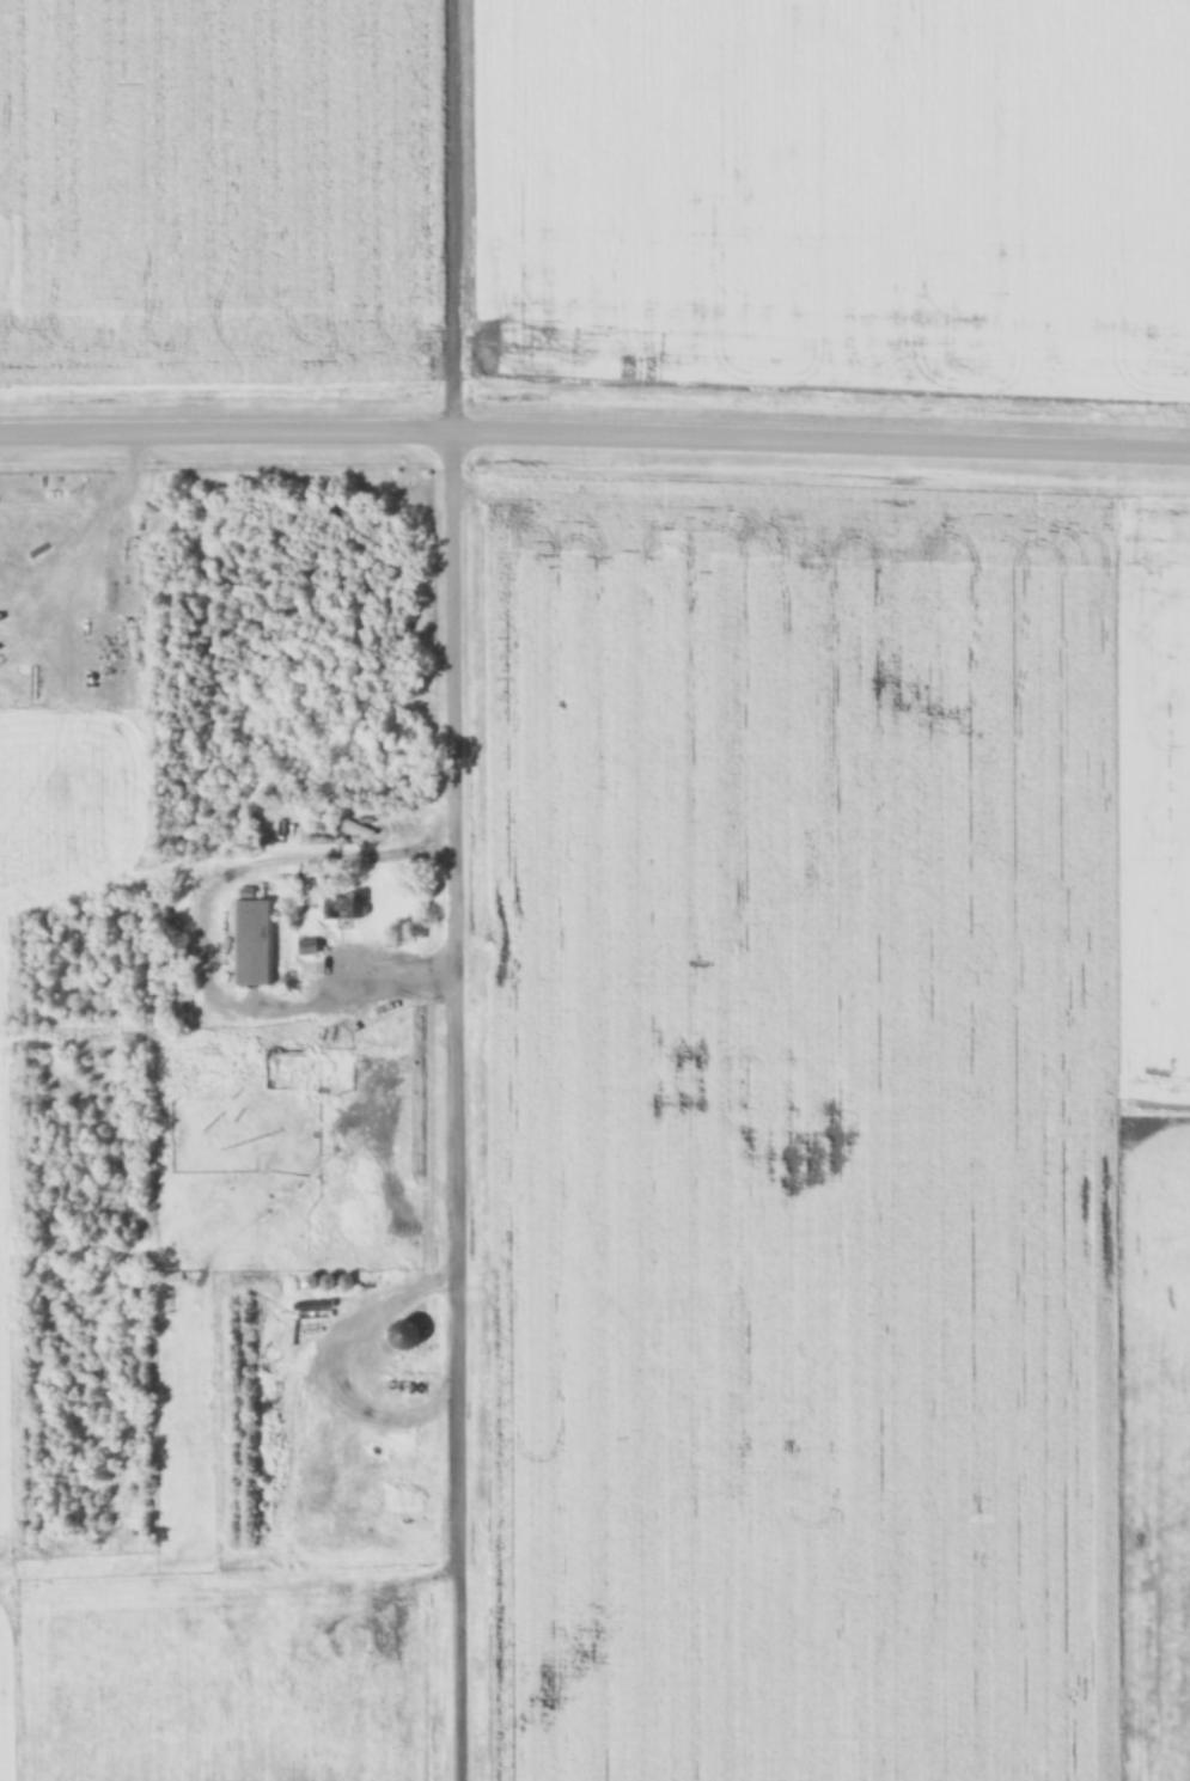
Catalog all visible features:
road: (594, 440)
road: (452, 890)
building: (342, 905)
building: (250, 943)
building: (335, 1037)
building: (285, 1053)
building: (307, 1231)
building: (402, 1336)

